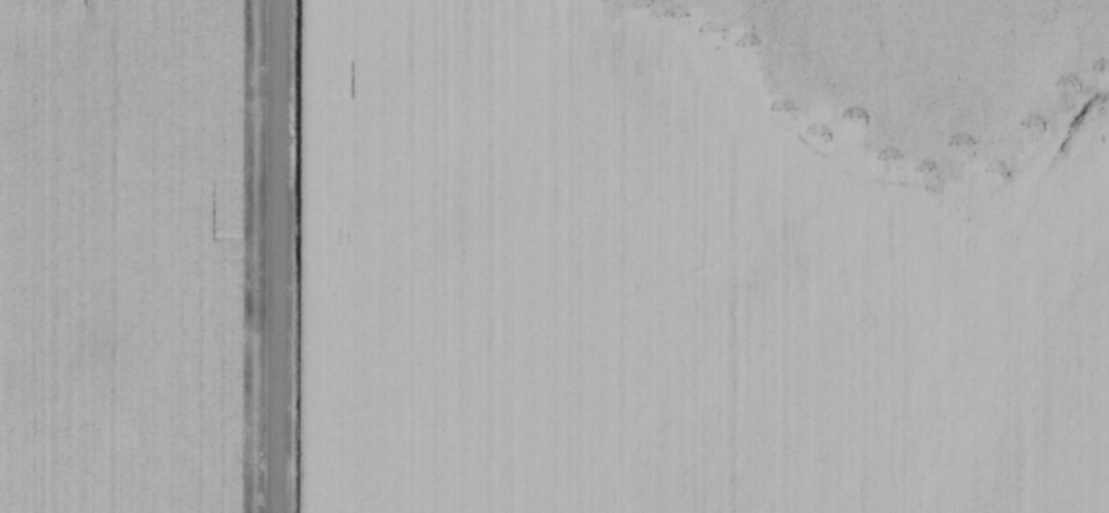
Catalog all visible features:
road: (279, 256)

